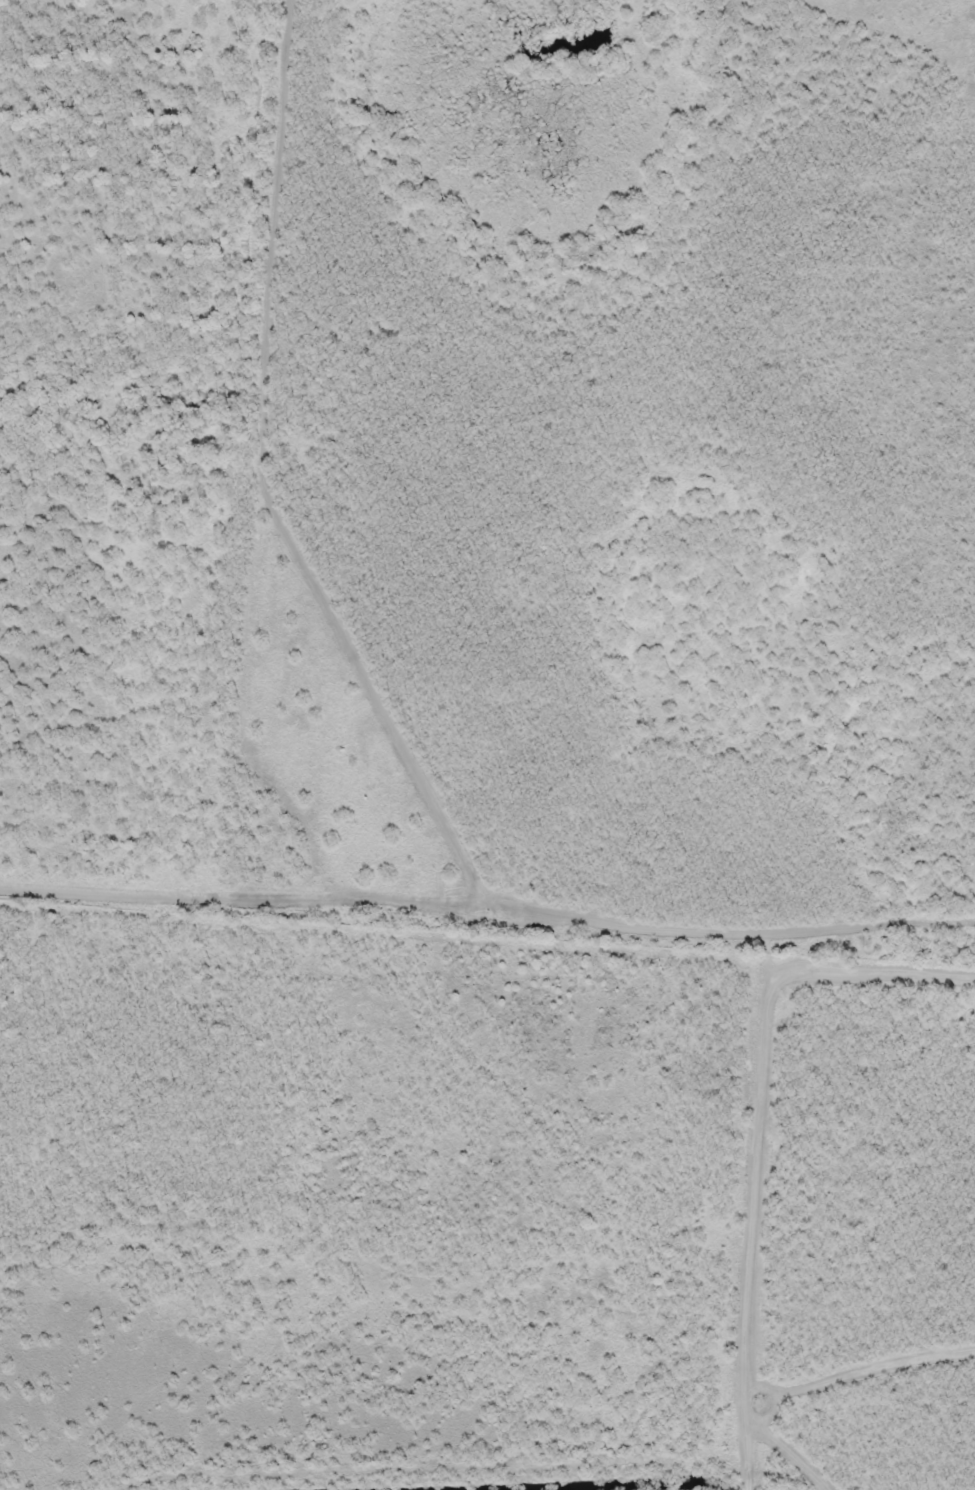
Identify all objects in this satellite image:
road: (122, 445)
road: (242, 460)
road: (634, 948)

